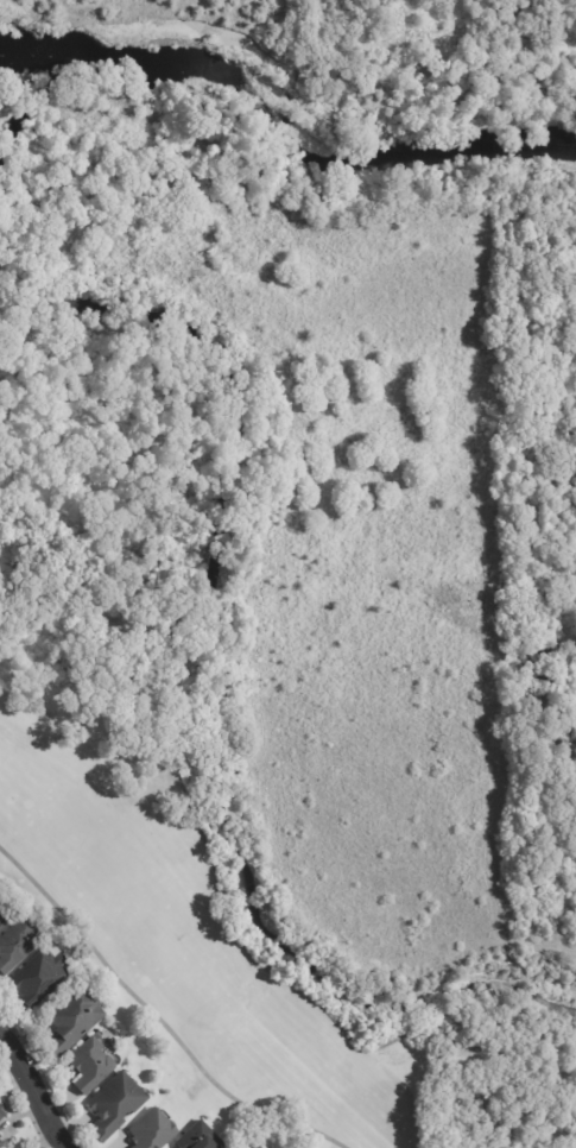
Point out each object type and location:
building: (6, 919)
building: (18, 946)
park: (185, 965)
building: (42, 976)
building: (75, 1020)
building: (95, 1066)
road: (36, 1089)
building: (119, 1106)
building: (2, 1115)
building: (154, 1130)
building: (200, 1138)
building: (1, 1142)
building: (252, 1144)
building: (258, 1146)

